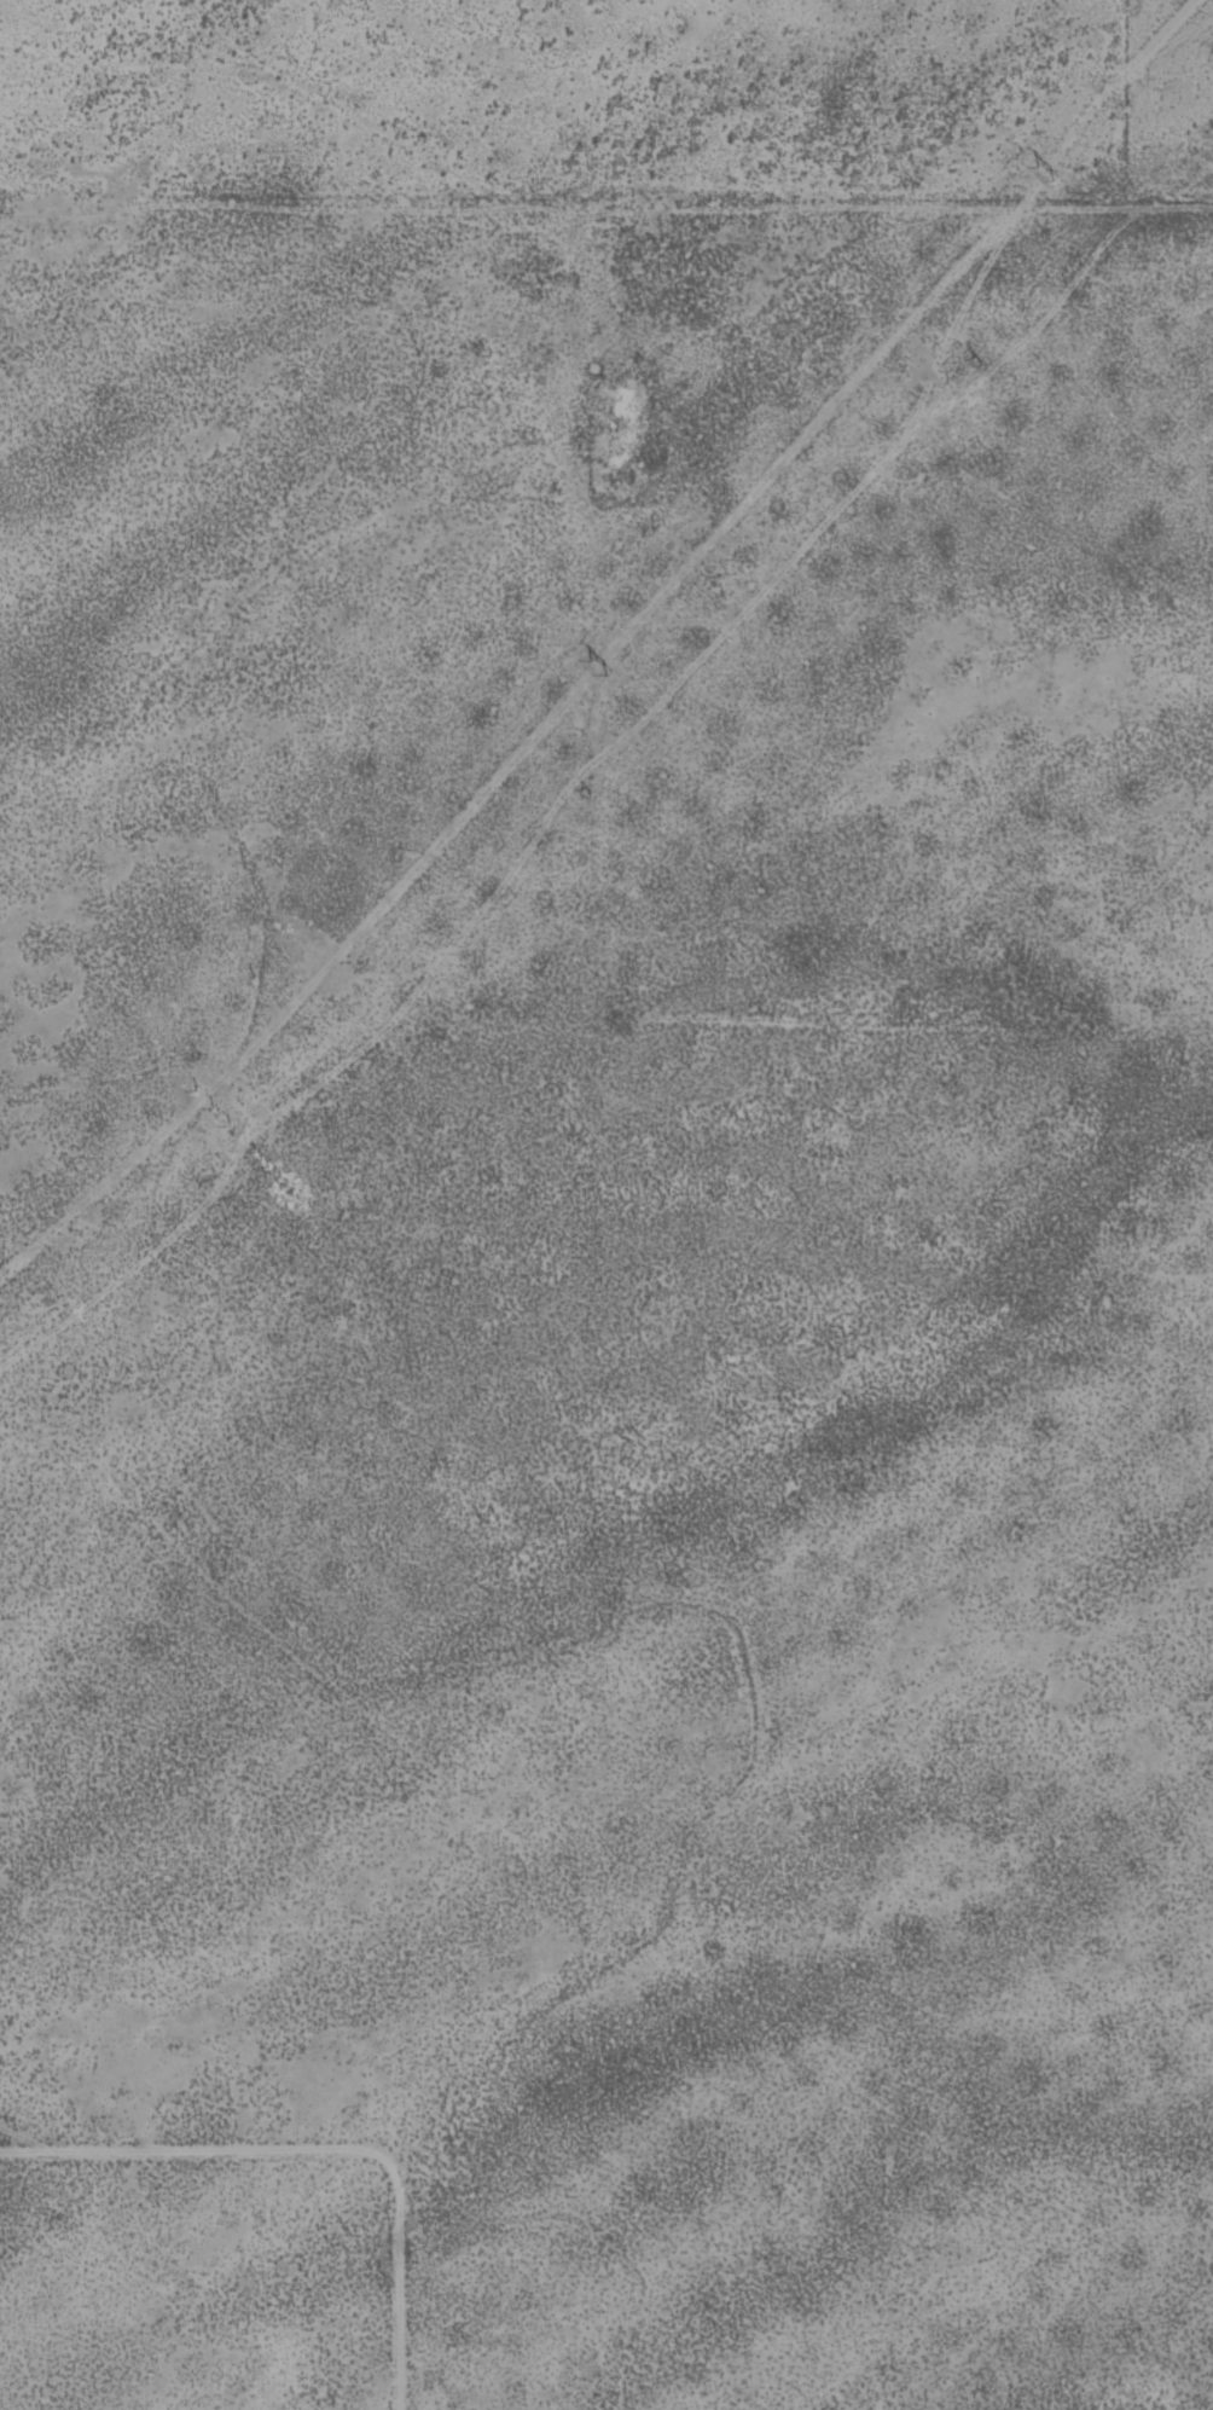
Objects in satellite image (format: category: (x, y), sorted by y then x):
power tower: (1040, 174)
road: (913, 216)
road: (695, 311)
power tower: (964, 366)
power tower: (593, 667)
power tower: (574, 798)
power tower: (208, 1107)
power tower: (256, 1158)

